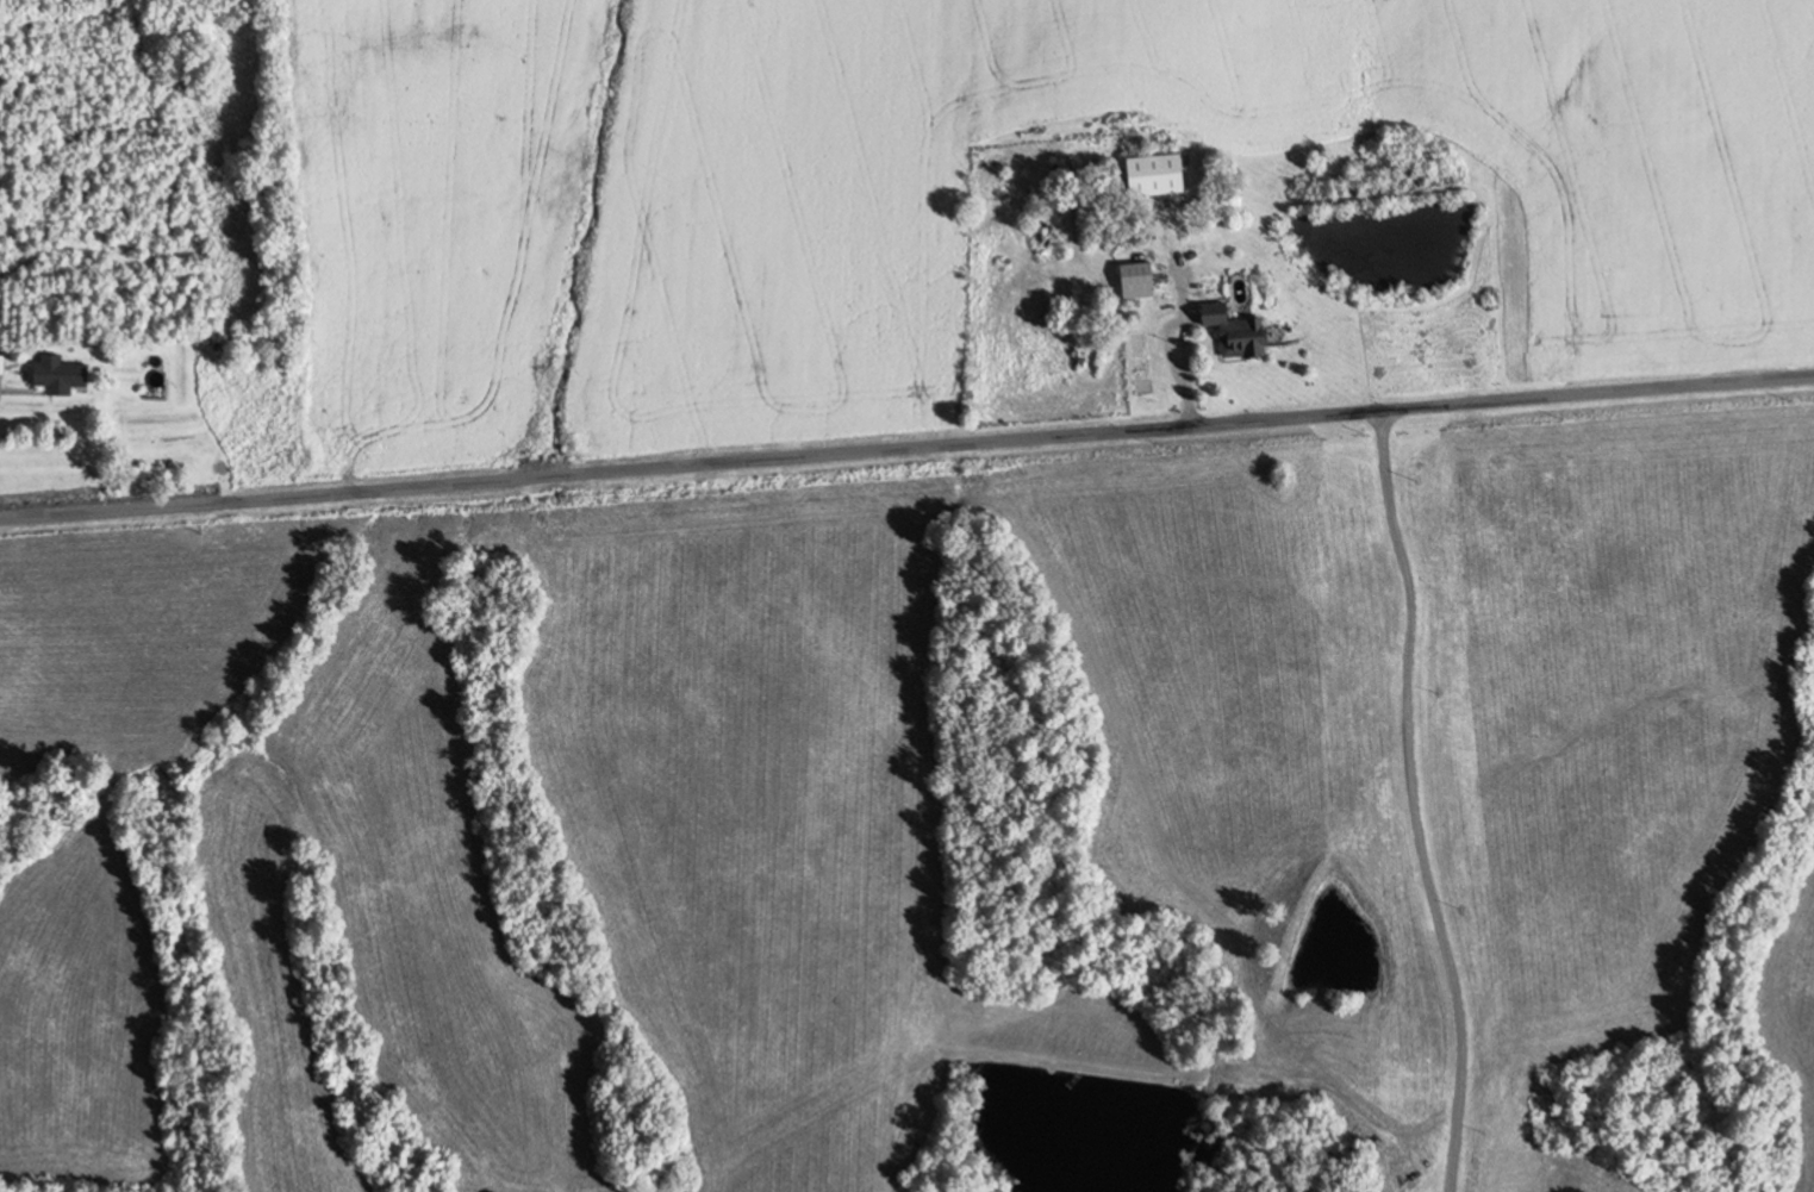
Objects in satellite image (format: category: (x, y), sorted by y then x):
building: (1148, 176)
building: (1133, 281)
building: (1230, 332)
building: (4, 364)
building: (68, 377)
road: (906, 445)
road: (1425, 799)

